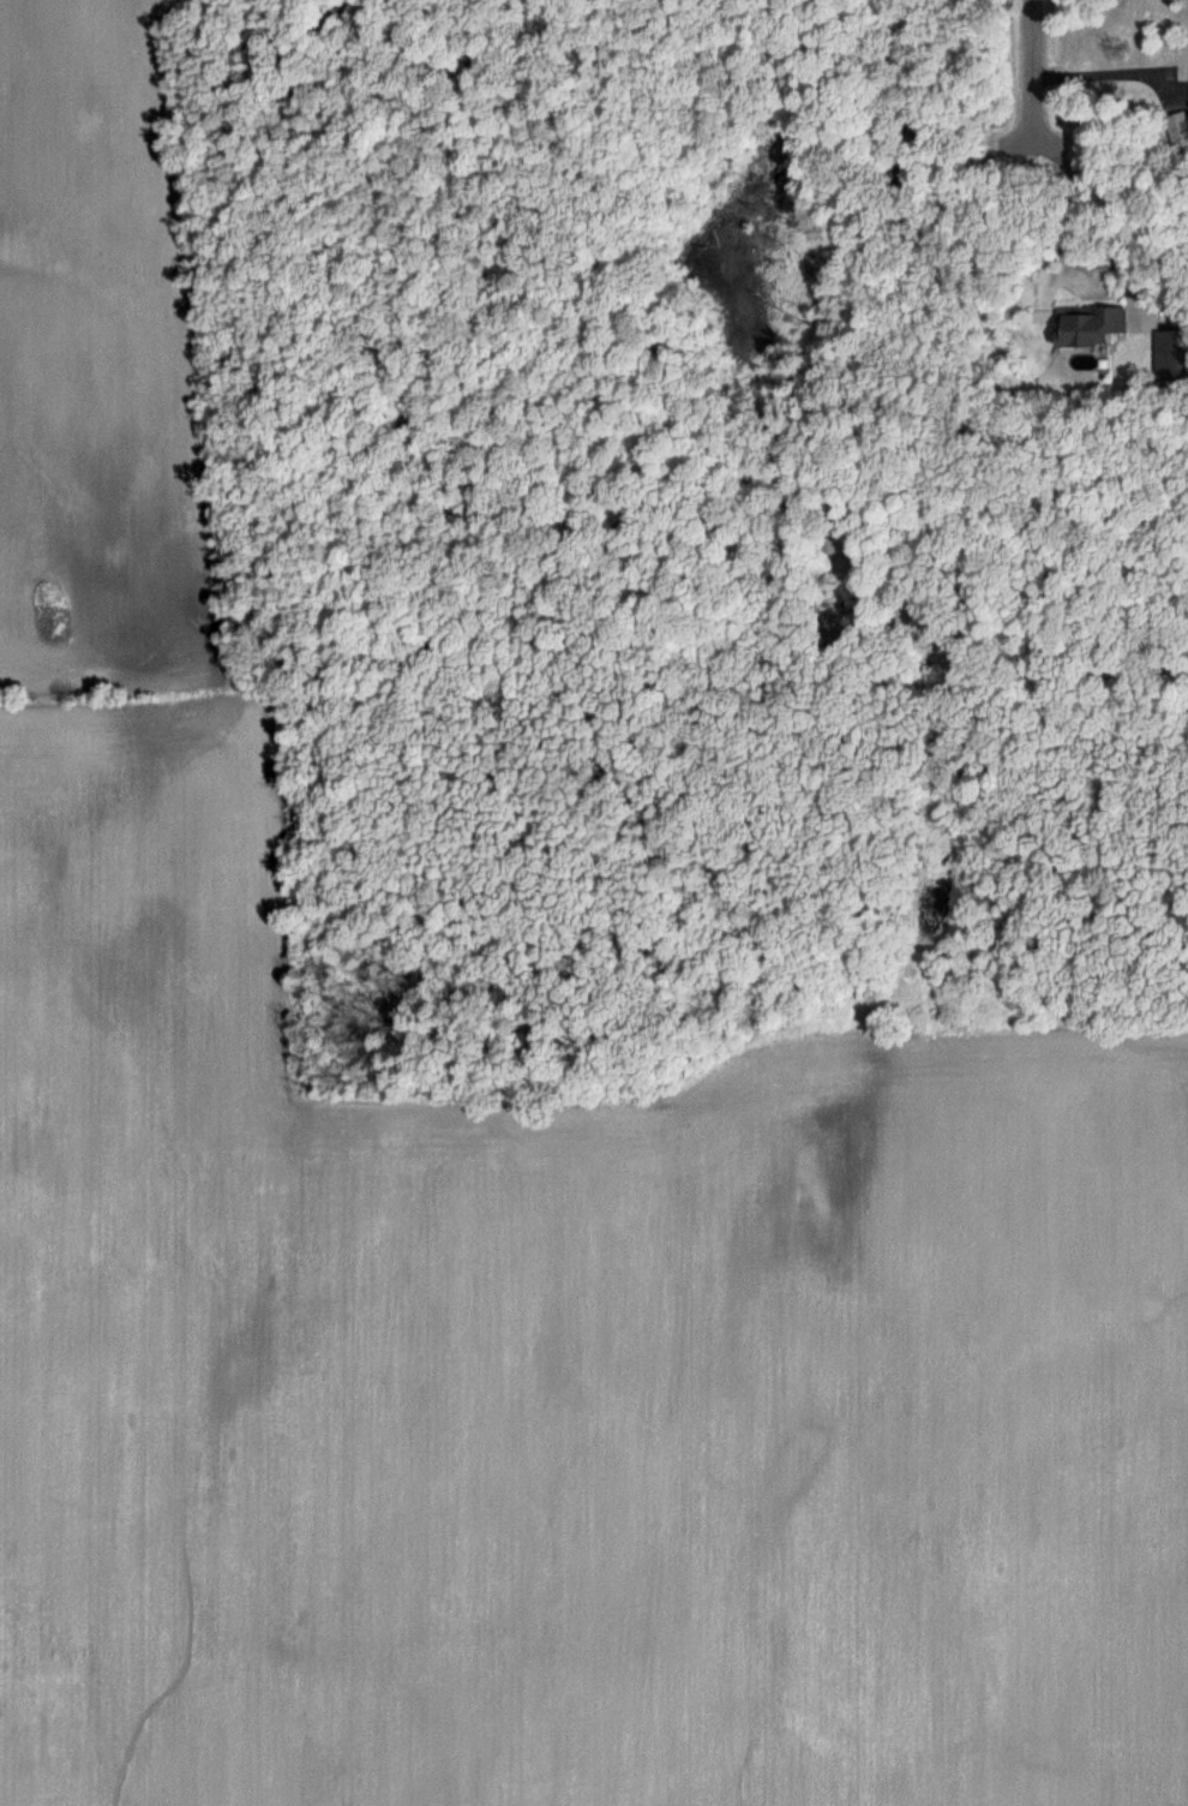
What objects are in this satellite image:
road: (1025, 61)
road: (1111, 72)
building: (1180, 130)
road: (1098, 205)
building: (1093, 325)

